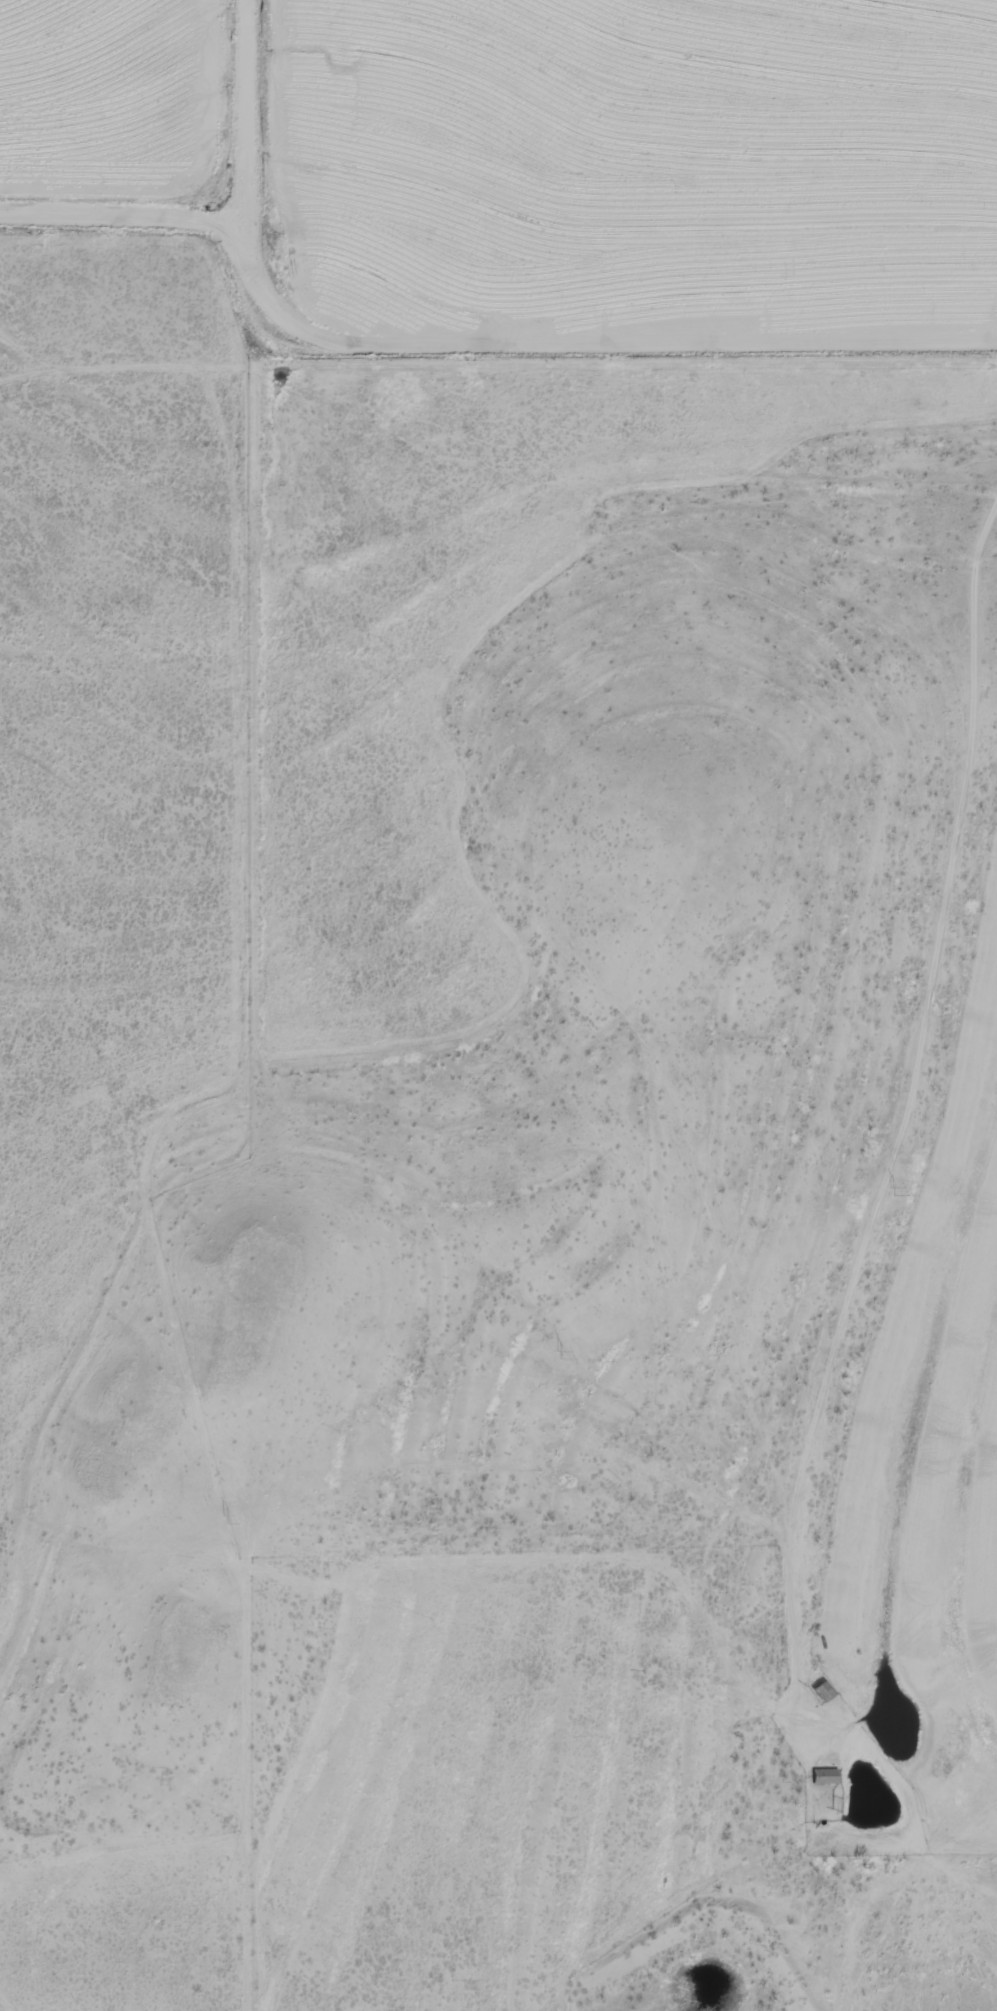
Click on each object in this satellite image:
road: (248, 122)
road: (470, 342)
road: (904, 1147)
power tower: (893, 1185)
power tower: (558, 1347)
power tower: (227, 1516)
building: (826, 1691)
building: (829, 1776)

